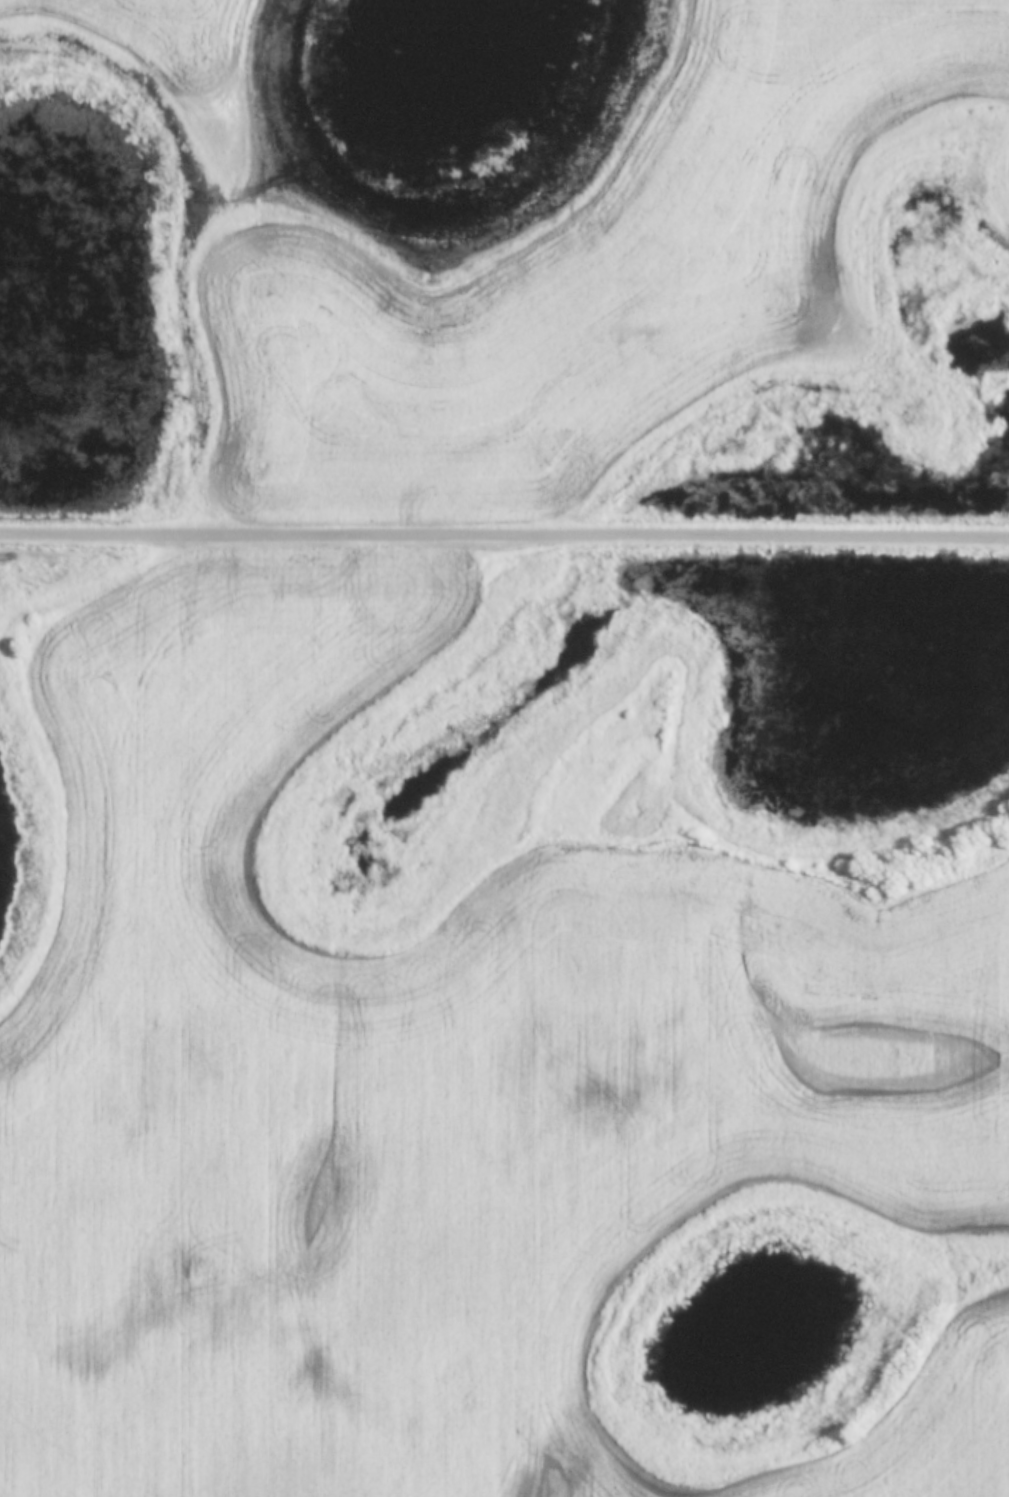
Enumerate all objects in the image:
road: (504, 538)

